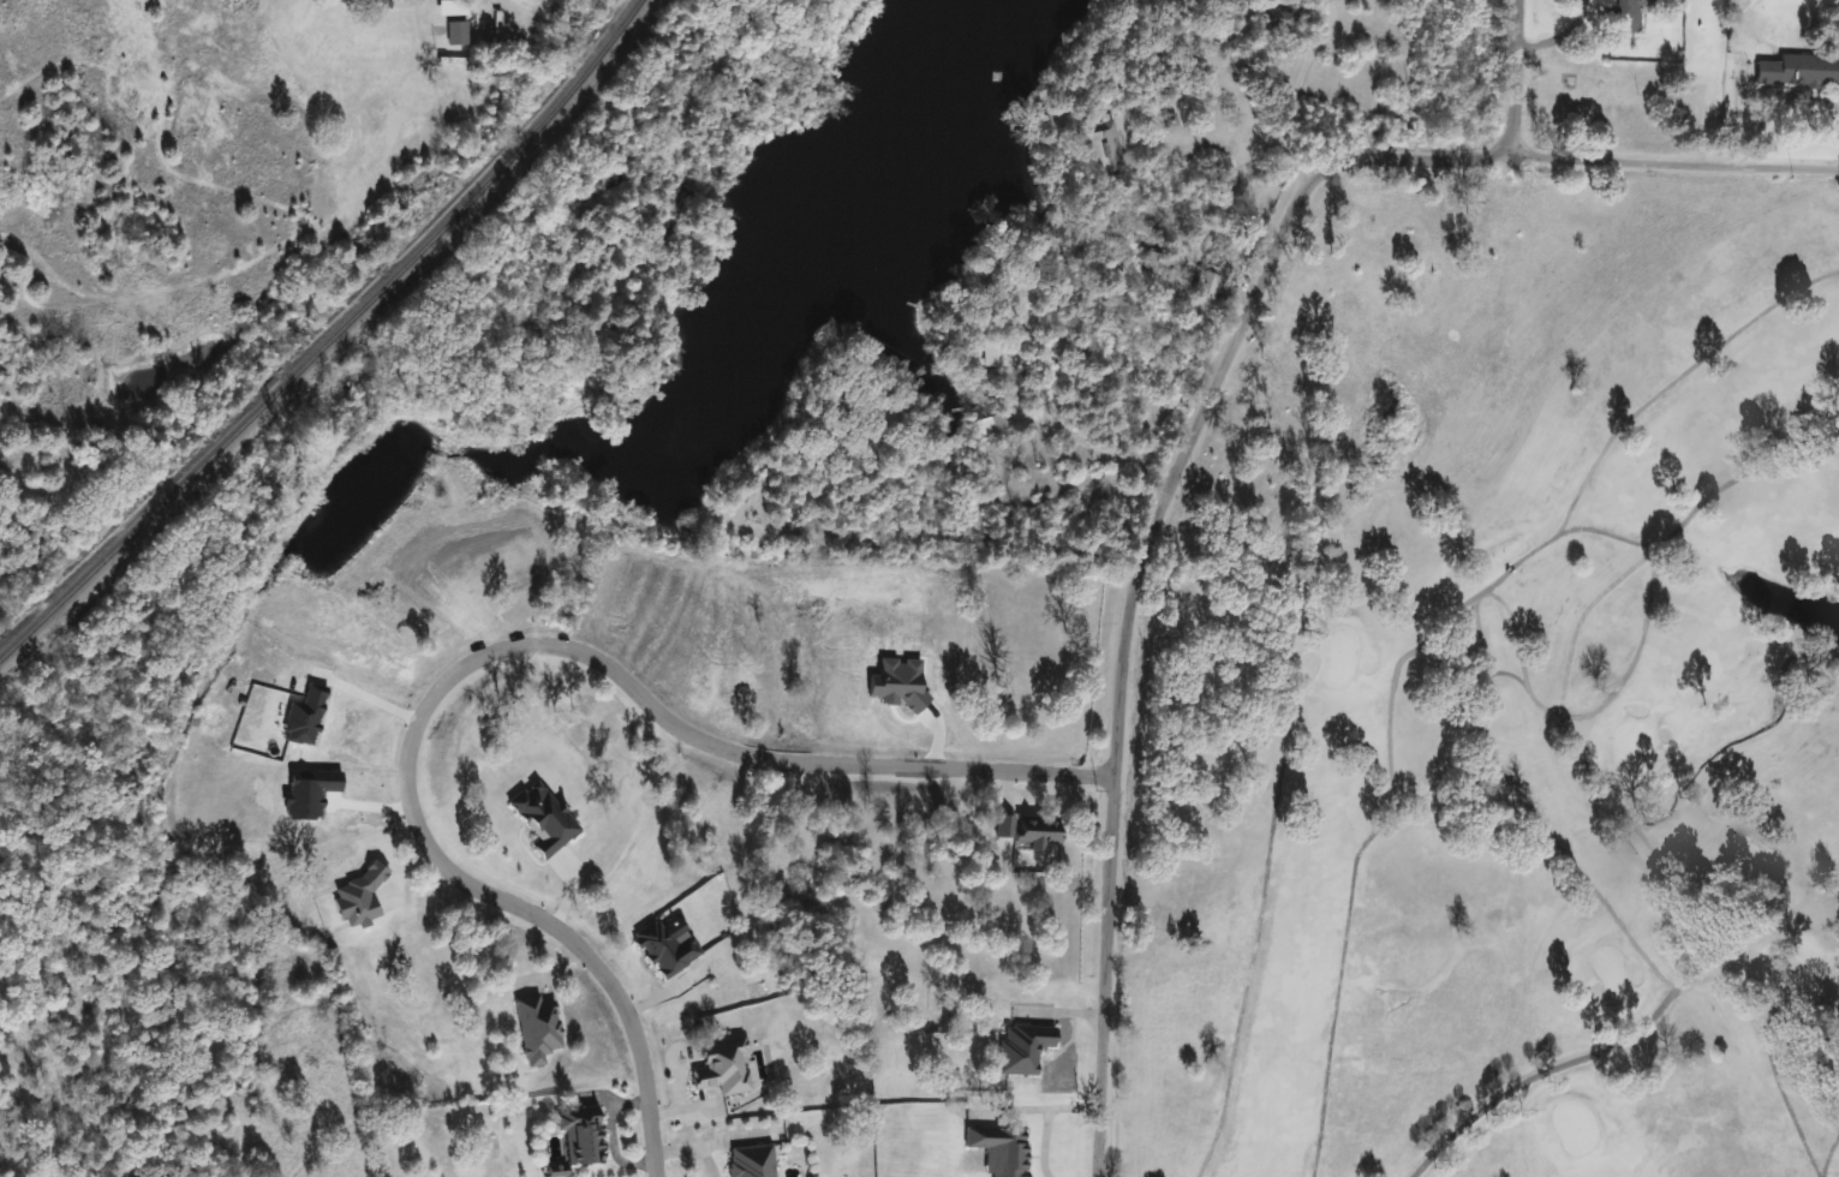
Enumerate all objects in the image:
building: (370, 1)
building: (452, 8)
building: (1625, 16)
building: (1280, 19)
building: (458, 34)
building: (448, 60)
building: (1799, 71)
road: (1289, 74)
road: (1516, 77)
building: (1100, 151)
road: (1576, 156)
building: (1206, 286)
building: (1391, 294)
railway: (339, 343)
building: (993, 354)
building: (996, 434)
road: (1126, 651)
road: (488, 652)
building: (1023, 1047)
building: (723, 1068)
building: (581, 1134)
building: (1001, 1148)
building: (752, 1160)

